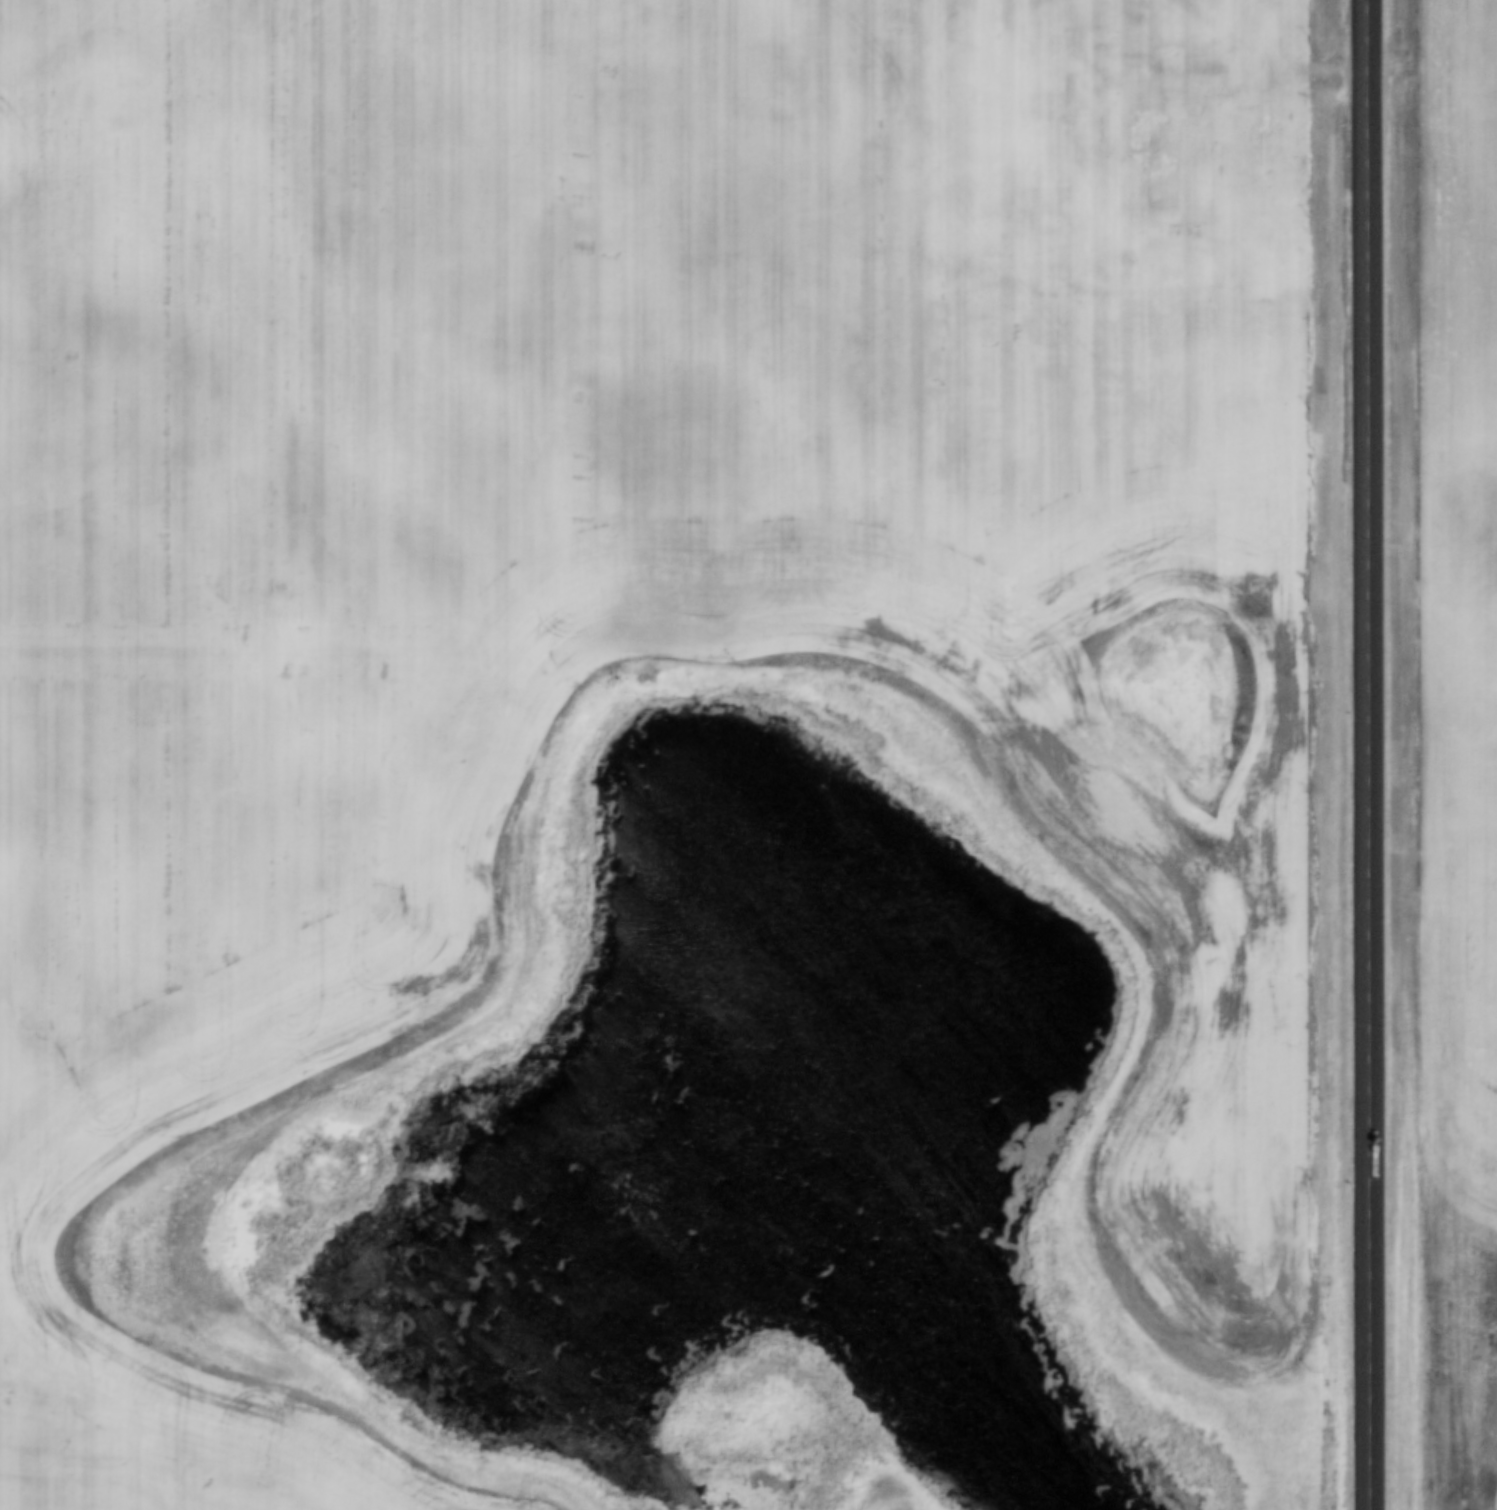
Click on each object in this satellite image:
road: (1247, 79)
building: (1184, 217)
road: (1368, 755)

